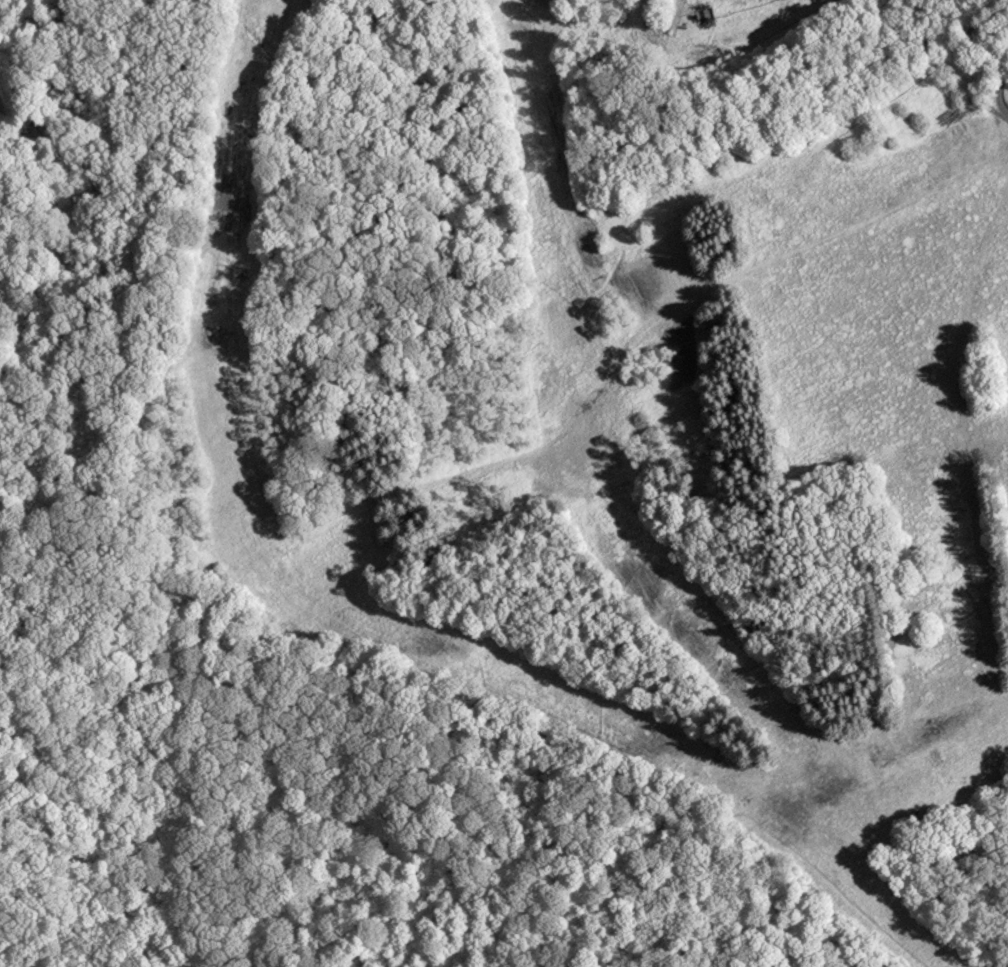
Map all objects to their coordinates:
ski resort: (588, 411)
road: (686, 834)

